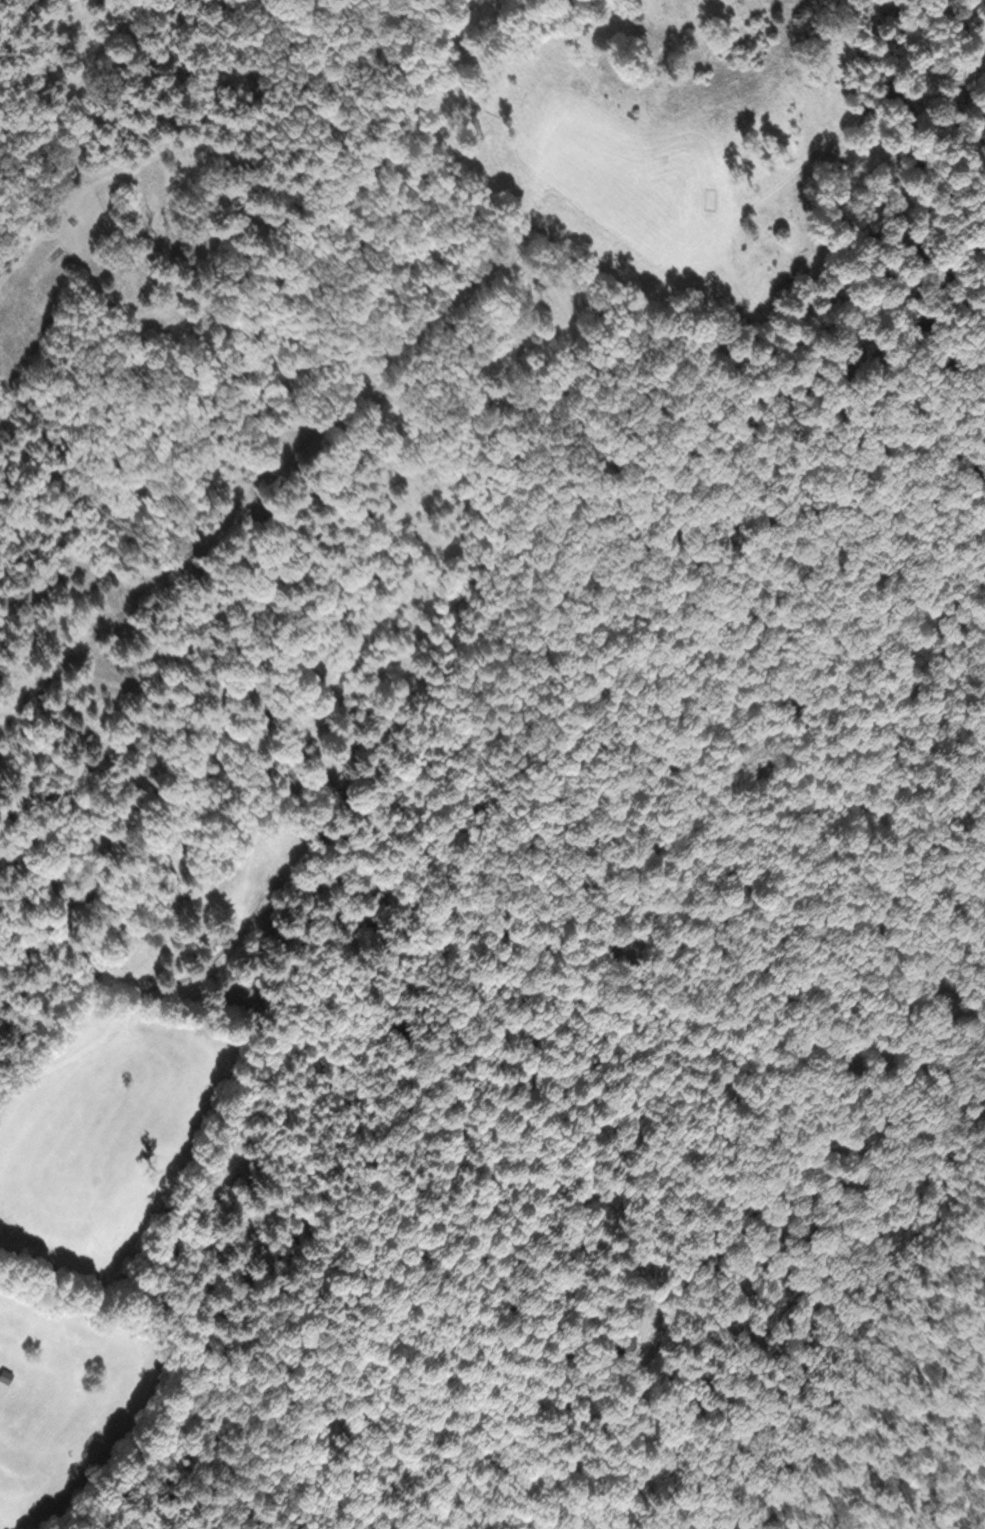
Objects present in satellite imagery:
building: (7, 1375)

